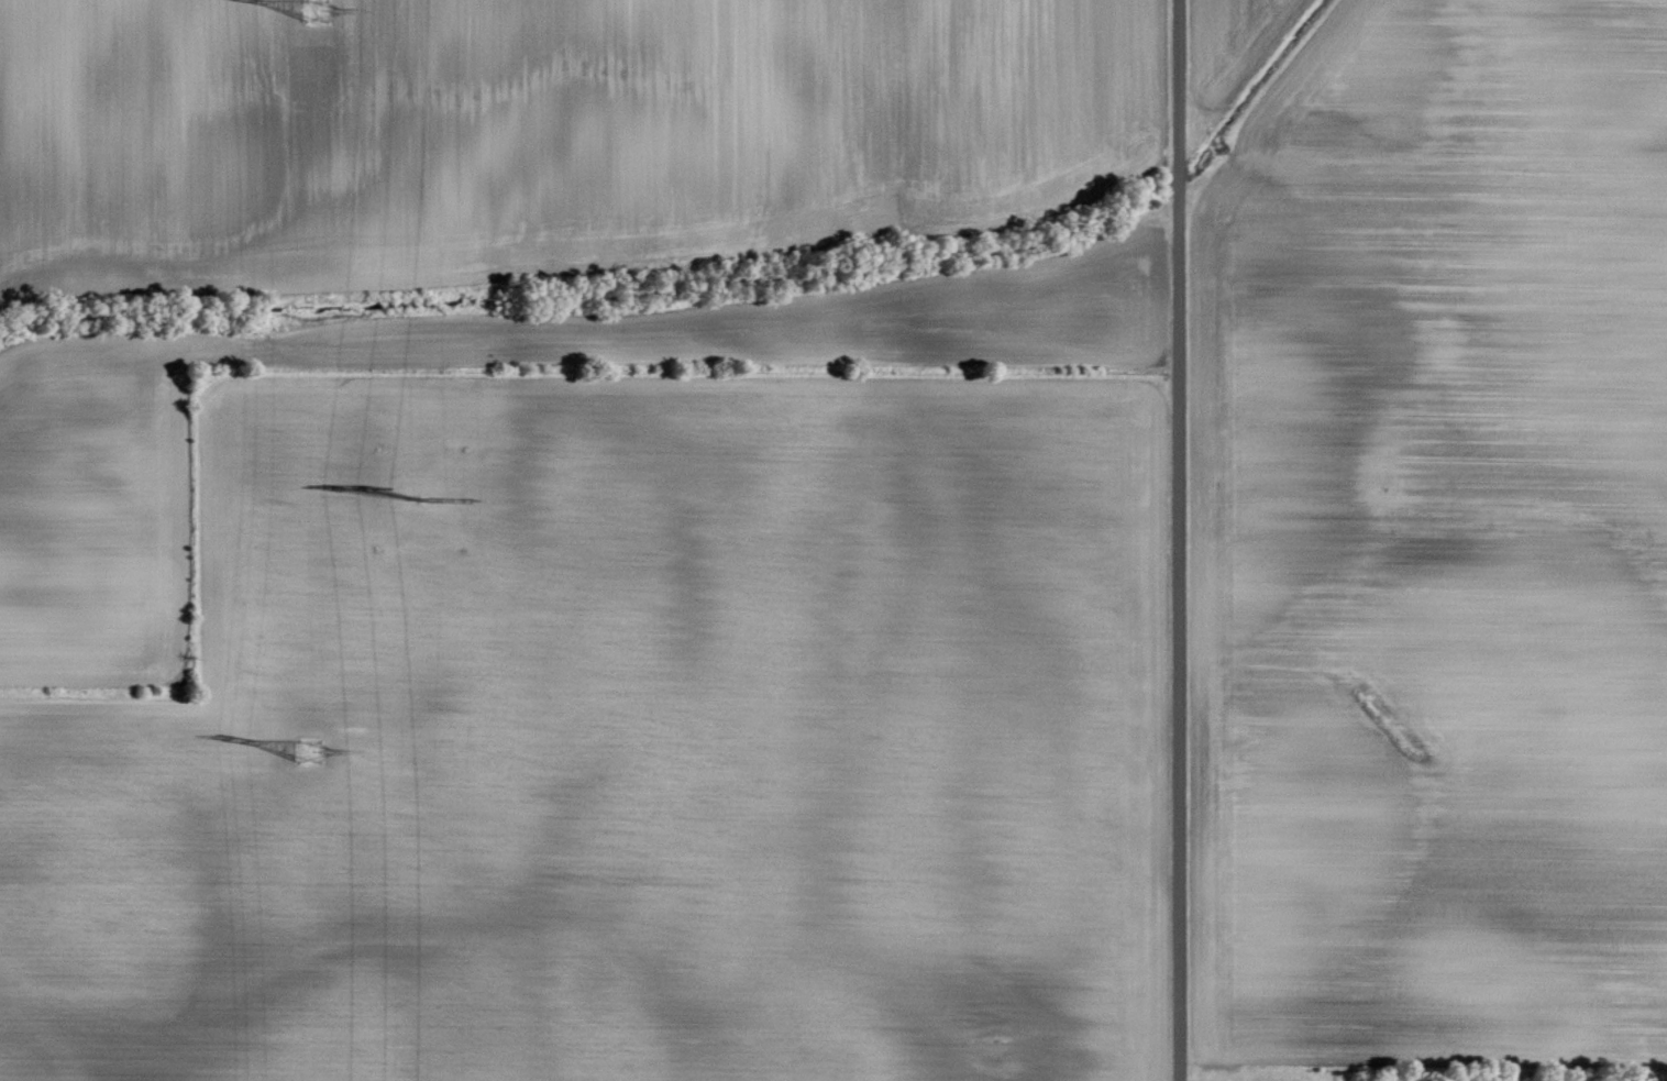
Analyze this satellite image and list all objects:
power tower: (316, 10)
power tower: (418, 497)
road: (1178, 540)
power tower: (309, 750)

